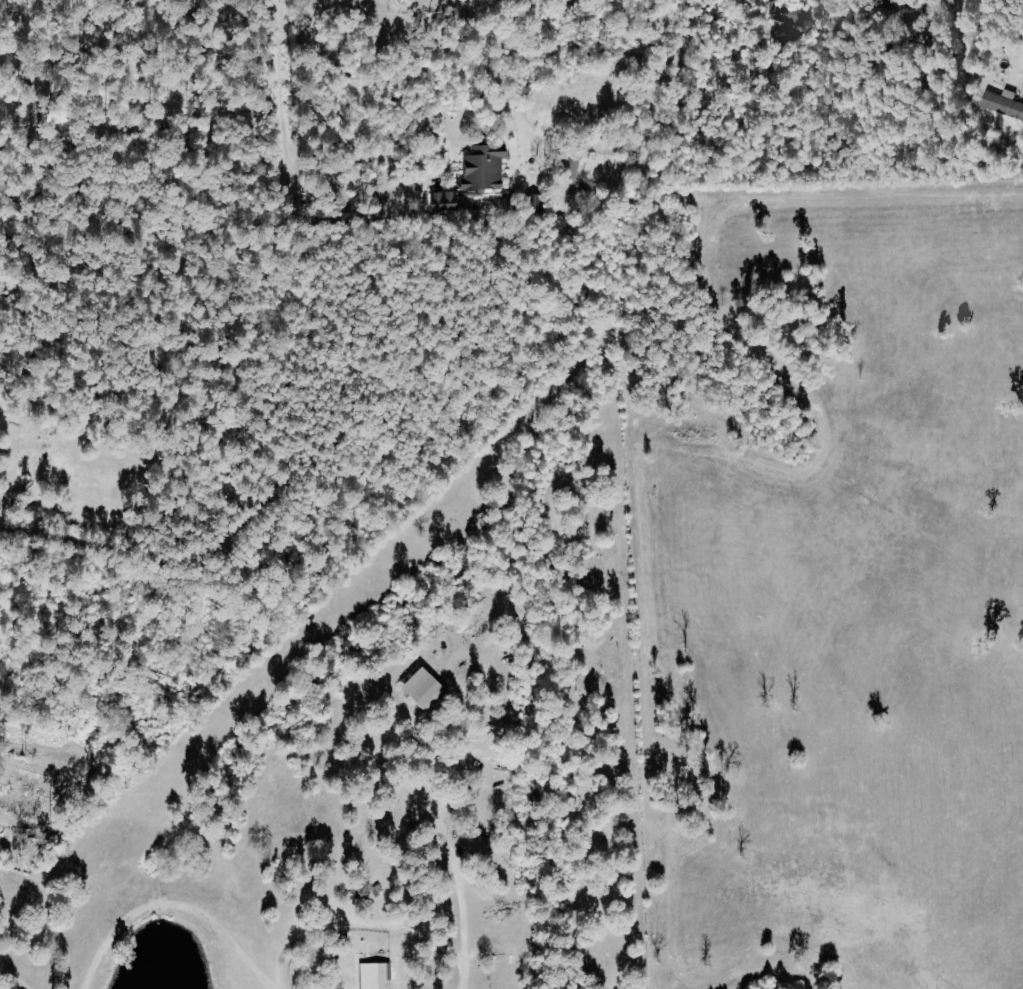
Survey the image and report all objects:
road: (274, 83)
building: (1002, 104)
building: (568, 164)
road: (342, 166)
building: (480, 169)
building: (442, 202)
road: (98, 647)
building: (417, 689)
road: (24, 748)
building: (26, 843)
road: (171, 901)
road: (453, 905)
building: (371, 975)
road: (6, 985)

